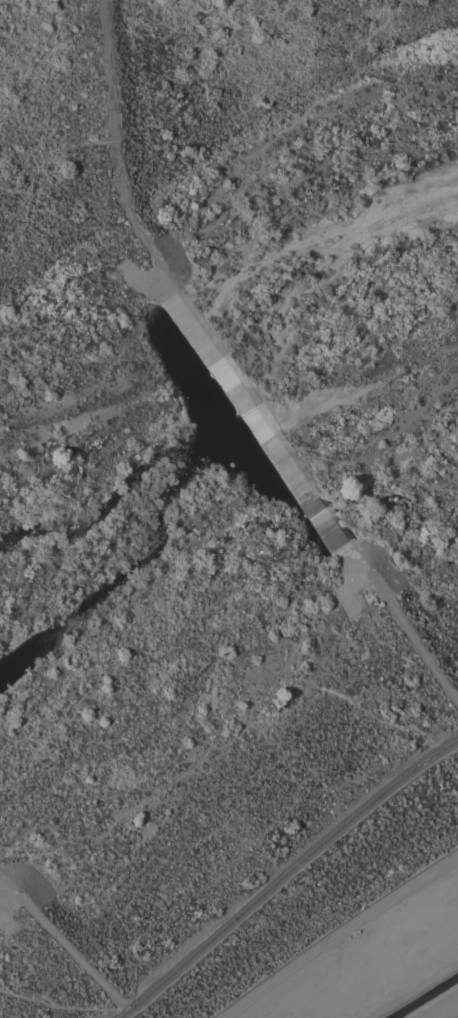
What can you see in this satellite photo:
river: (283, 254)
river: (227, 426)
river: (323, 466)
river: (7, 545)
river: (129, 572)
road: (283, 874)
road: (456, 1016)

